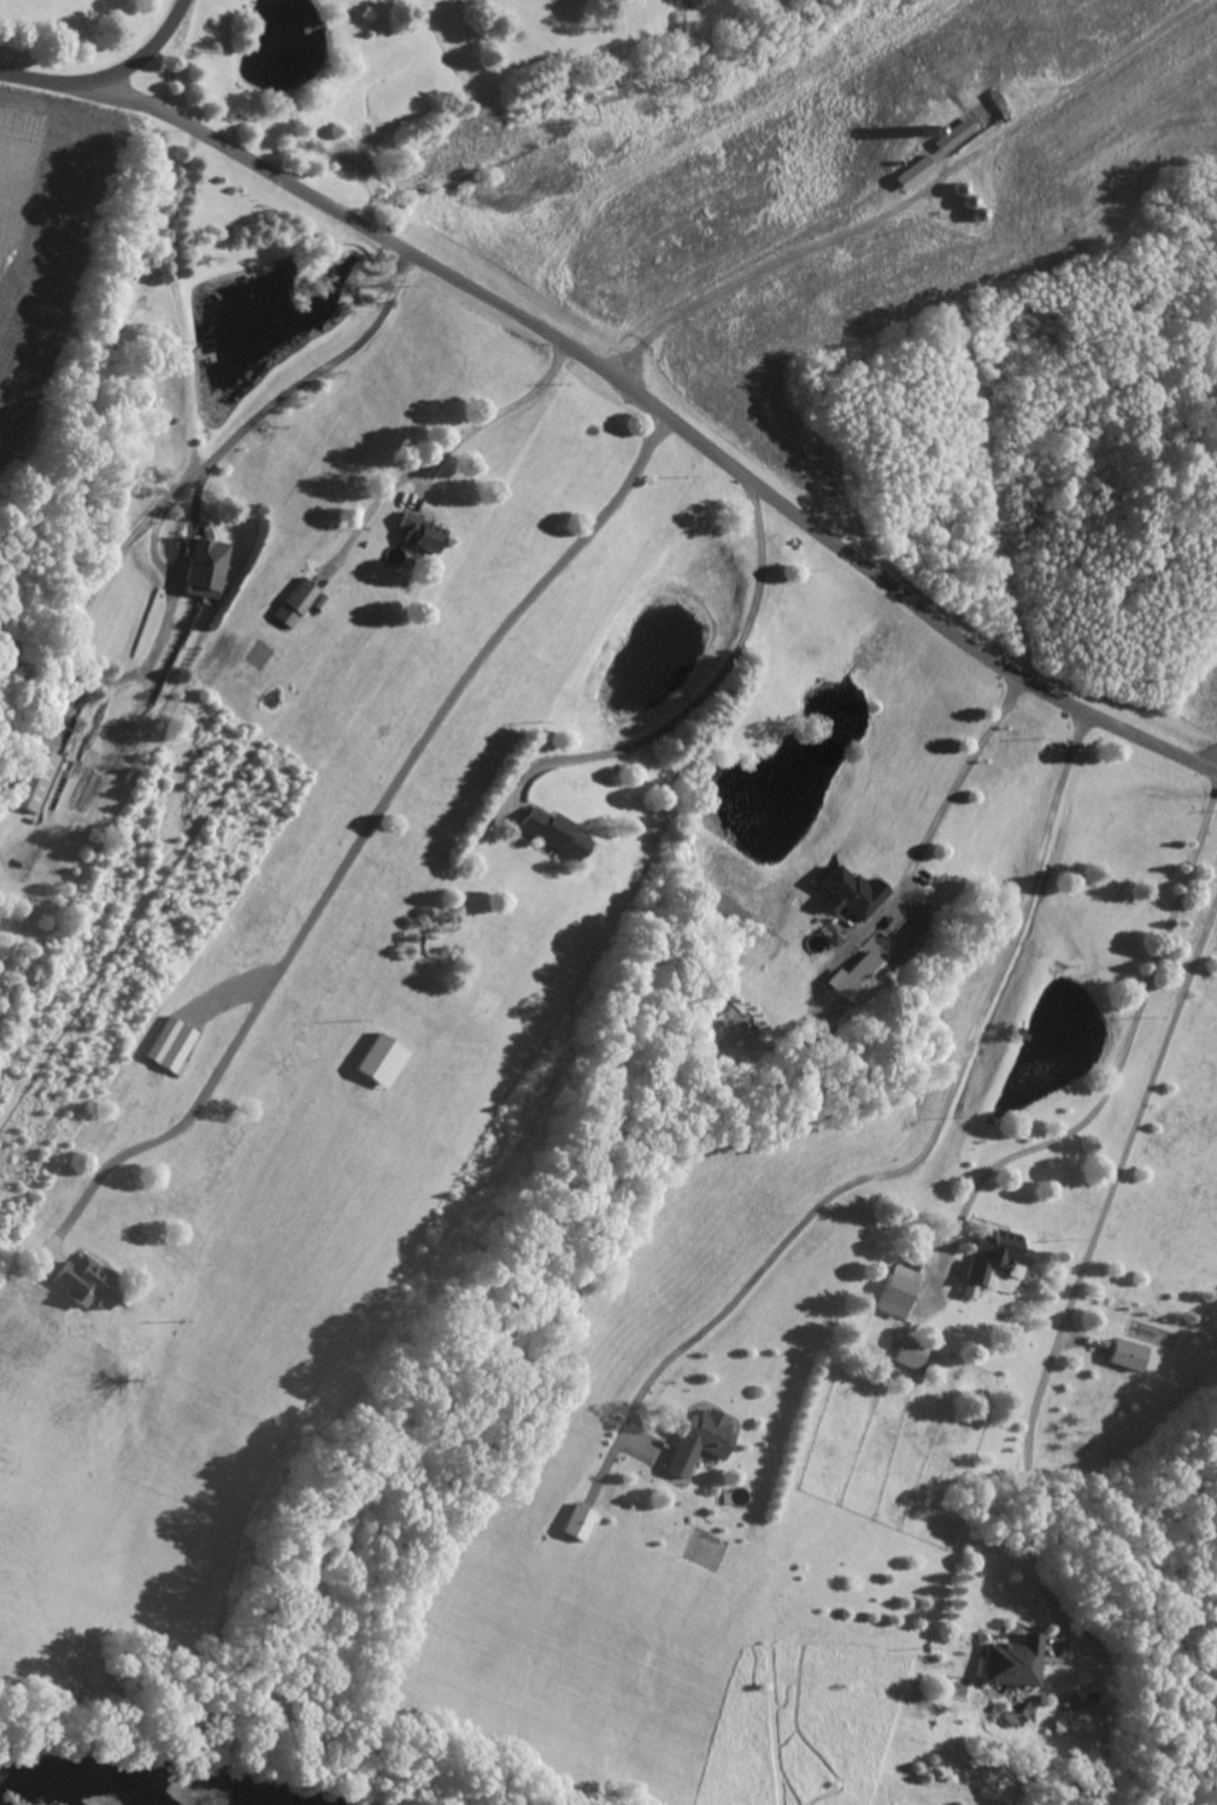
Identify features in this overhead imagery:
road: (108, 76)
building: (912, 175)
road: (910, 198)
road: (569, 345)
road: (314, 372)
road: (494, 417)
road: (193, 449)
building: (421, 535)
building: (205, 569)
building: (300, 599)
road: (702, 690)
road: (1118, 728)
road: (1216, 770)
building: (33, 781)
road: (946, 806)
building: (551, 835)
road: (358, 843)
building: (849, 894)
building: (853, 980)
building: (169, 1046)
road: (1118, 1066)
road: (936, 1129)
road: (1088, 1256)
building: (994, 1262)
building: (898, 1292)
building: (911, 1356)
building: (1123, 1357)
building: (700, 1442)
building: (578, 1524)
building: (1009, 1664)
river: (123, 1787)

